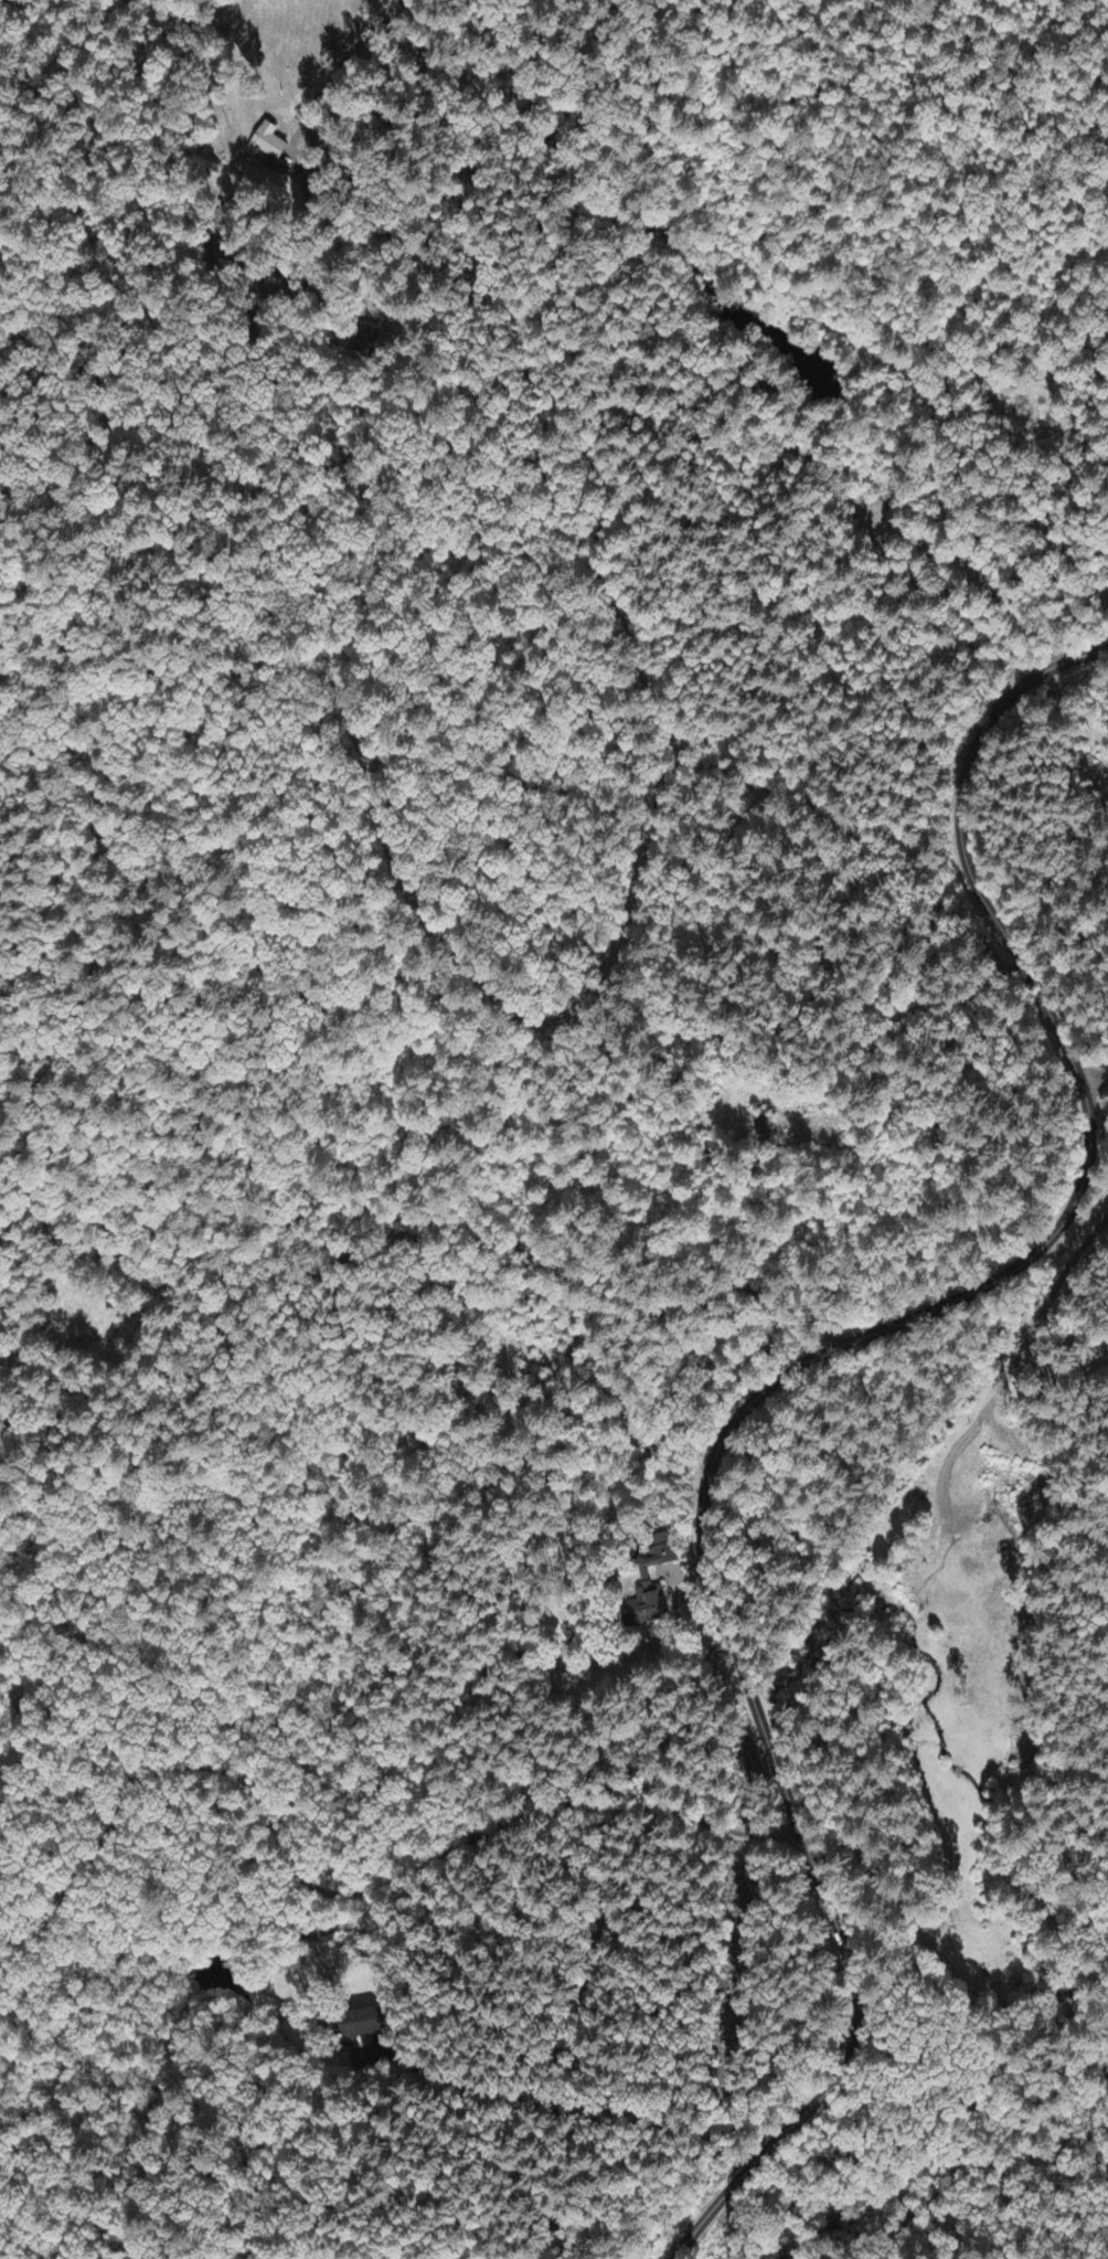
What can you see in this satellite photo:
building: (266, 145)
road: (590, 584)
road: (969, 654)
road: (1091, 1088)
road: (741, 1252)
road: (782, 1377)
building: (661, 1572)
building: (643, 1578)
park: (8, 1733)
building: (363, 2026)

